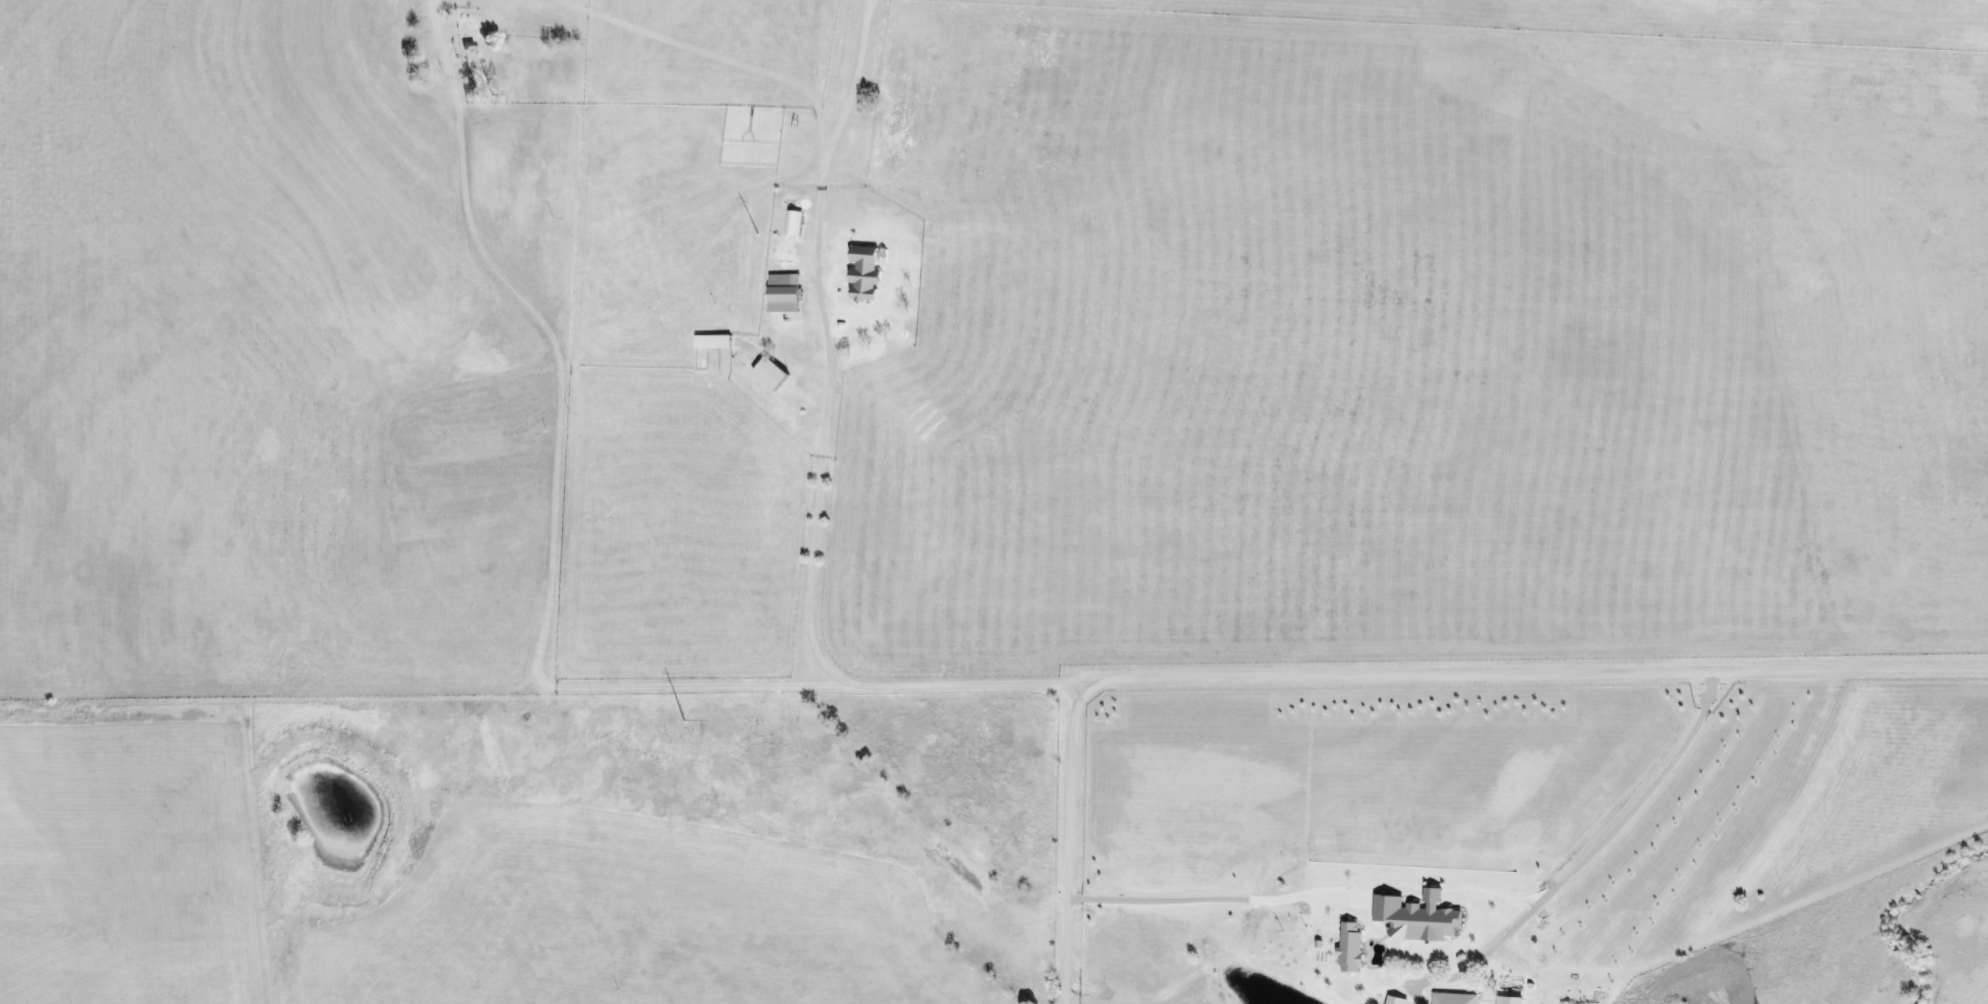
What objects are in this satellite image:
building: (794, 223)
power tower: (758, 235)
building: (864, 273)
building: (783, 293)
building: (712, 341)
building: (770, 373)
road: (804, 434)
road: (1379, 671)
power tower: (684, 722)
road: (1637, 847)
building: (1417, 917)
building: (1350, 945)
building: (1454, 998)
building: (1396, 1000)
building: (1509, 1000)

